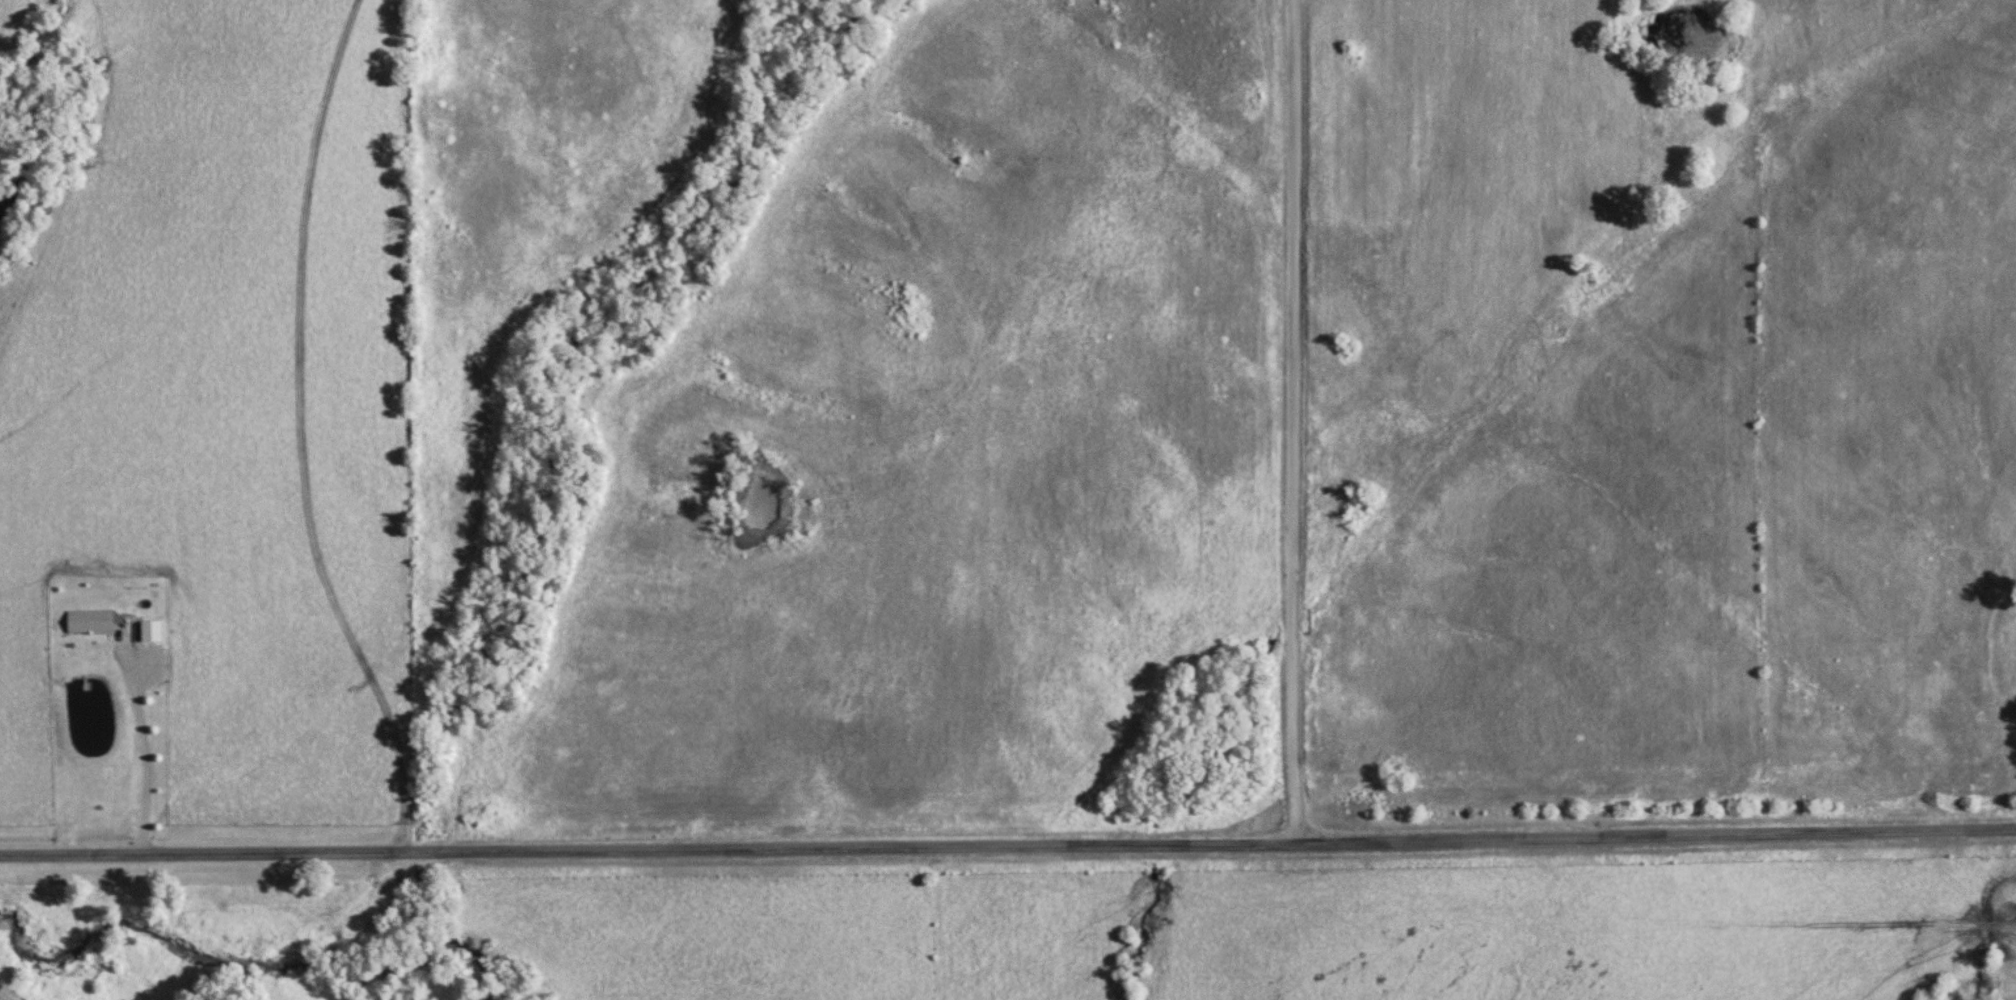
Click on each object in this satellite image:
road: (1294, 421)
road: (300, 432)
building: (91, 621)
building: (152, 631)
road: (146, 737)
road: (1008, 845)
road: (5, 996)

